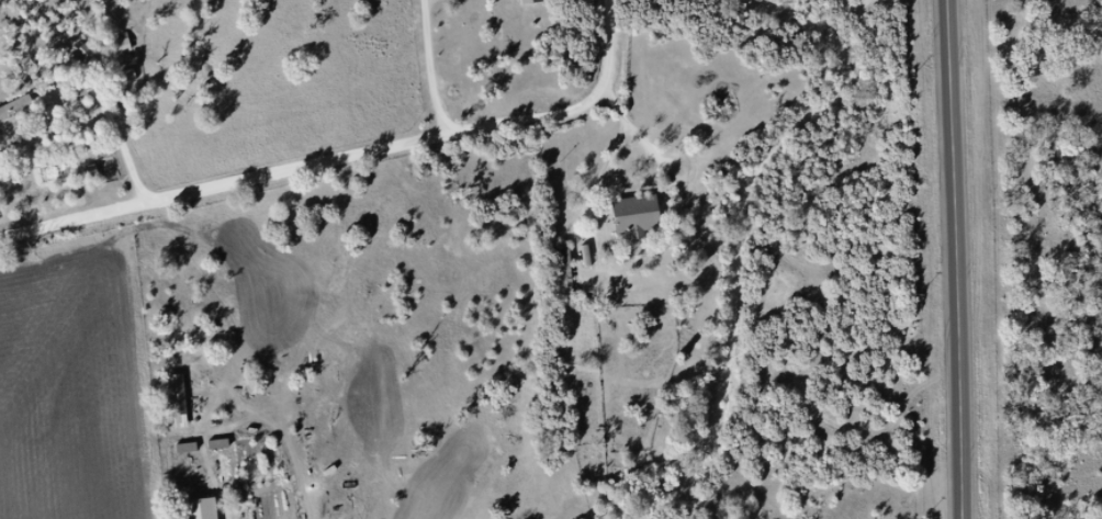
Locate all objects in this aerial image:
building: (531, 1)
building: (81, 52)
building: (79, 89)
building: (31, 117)
road: (346, 156)
building: (641, 222)
road: (960, 259)
building: (563, 273)
building: (178, 400)

